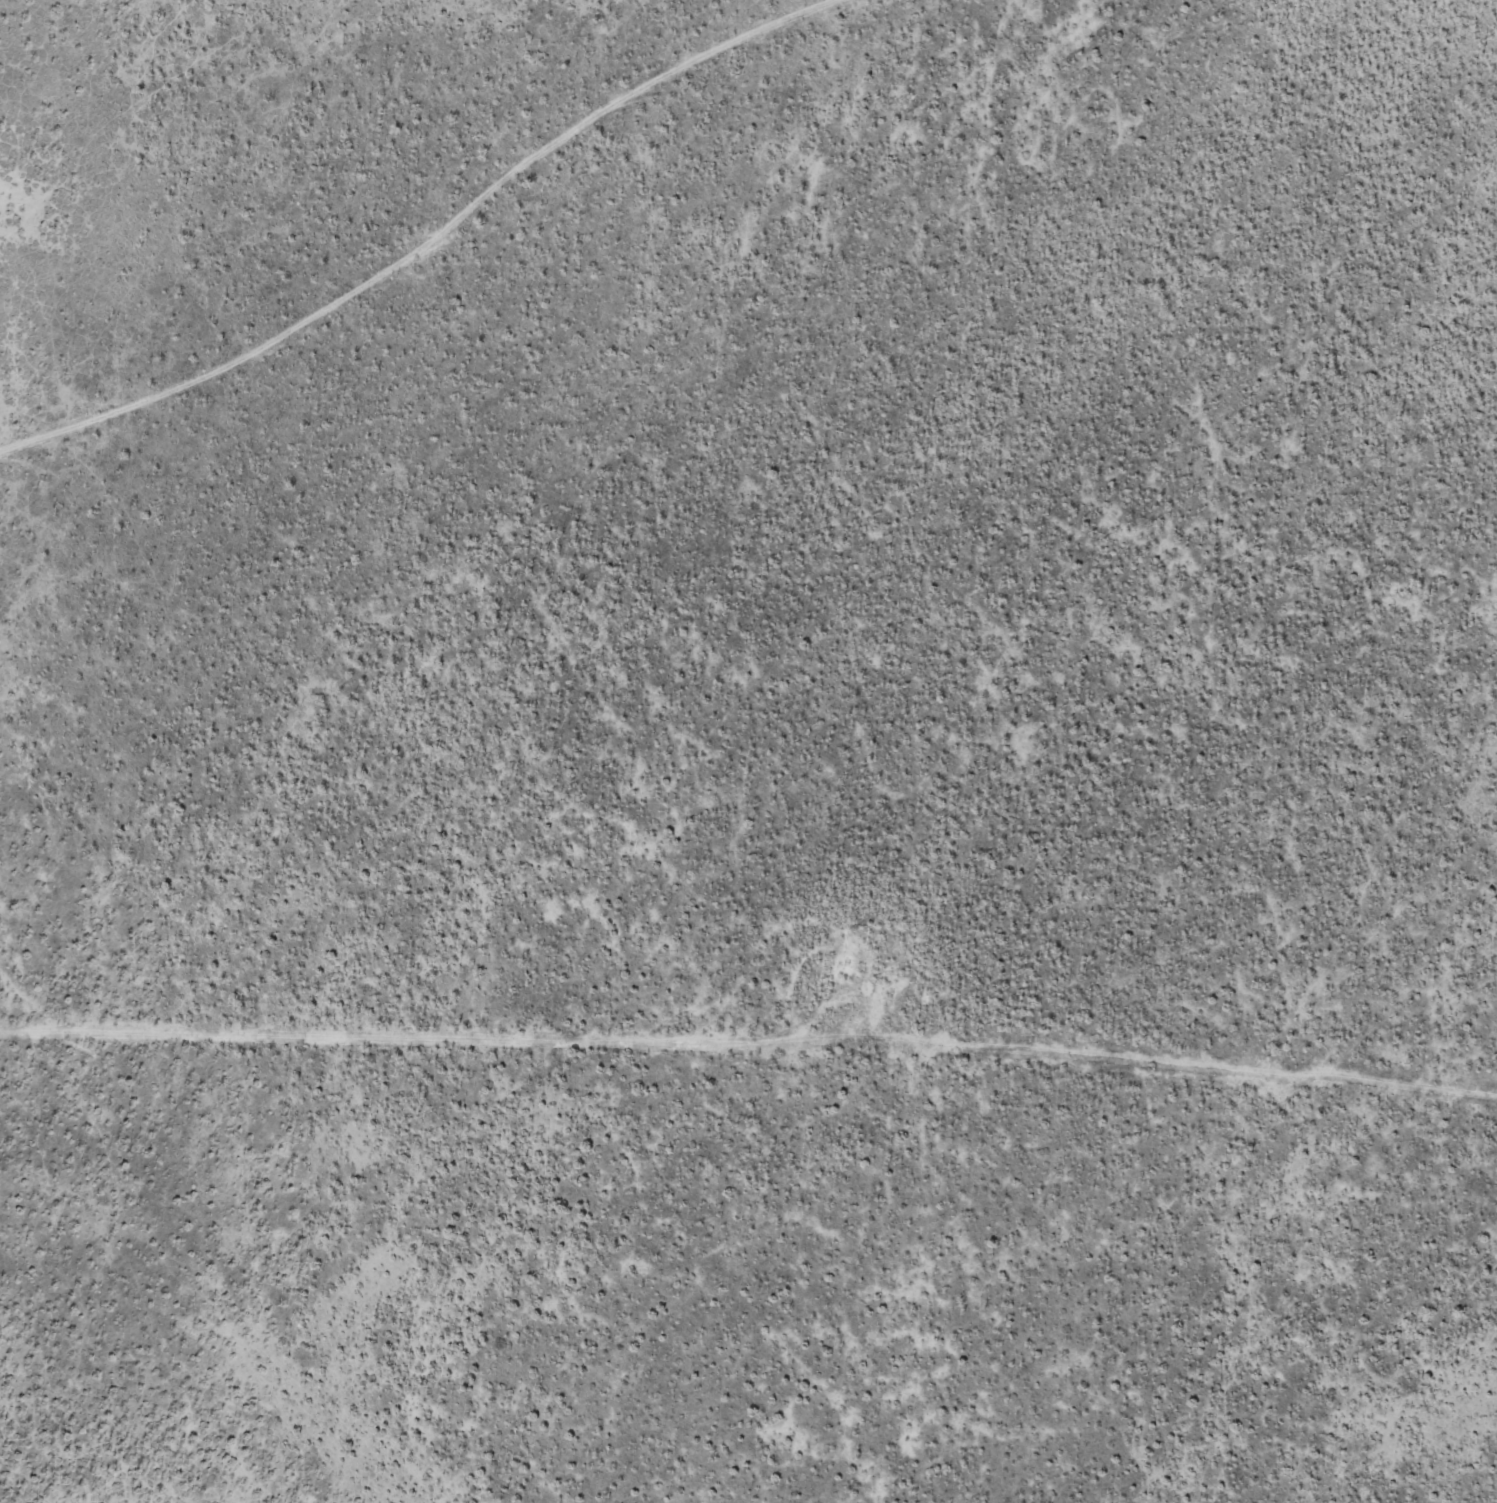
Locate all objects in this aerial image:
road: (442, 254)
road: (447, 1036)

